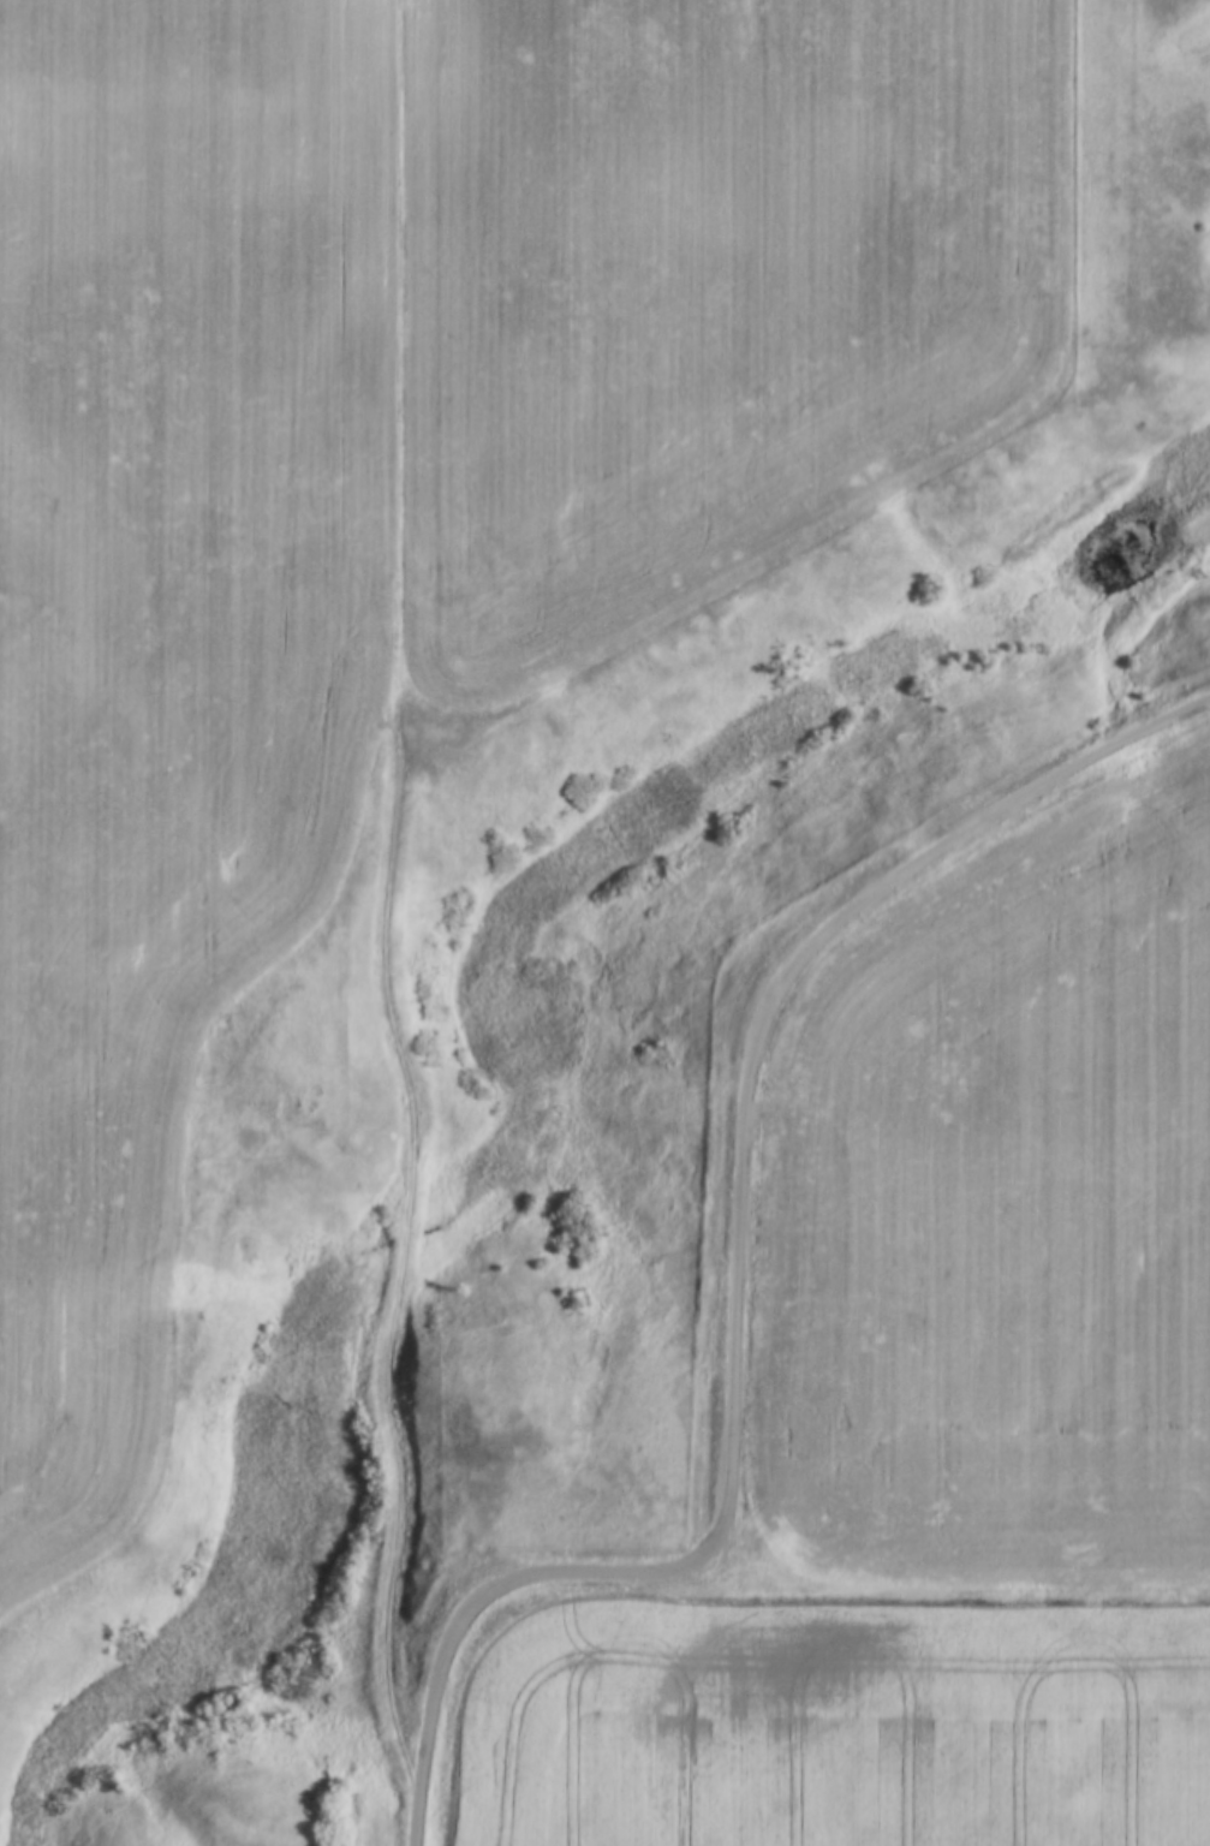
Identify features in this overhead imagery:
road: (387, 913)
road: (735, 1237)
road: (412, 1830)

